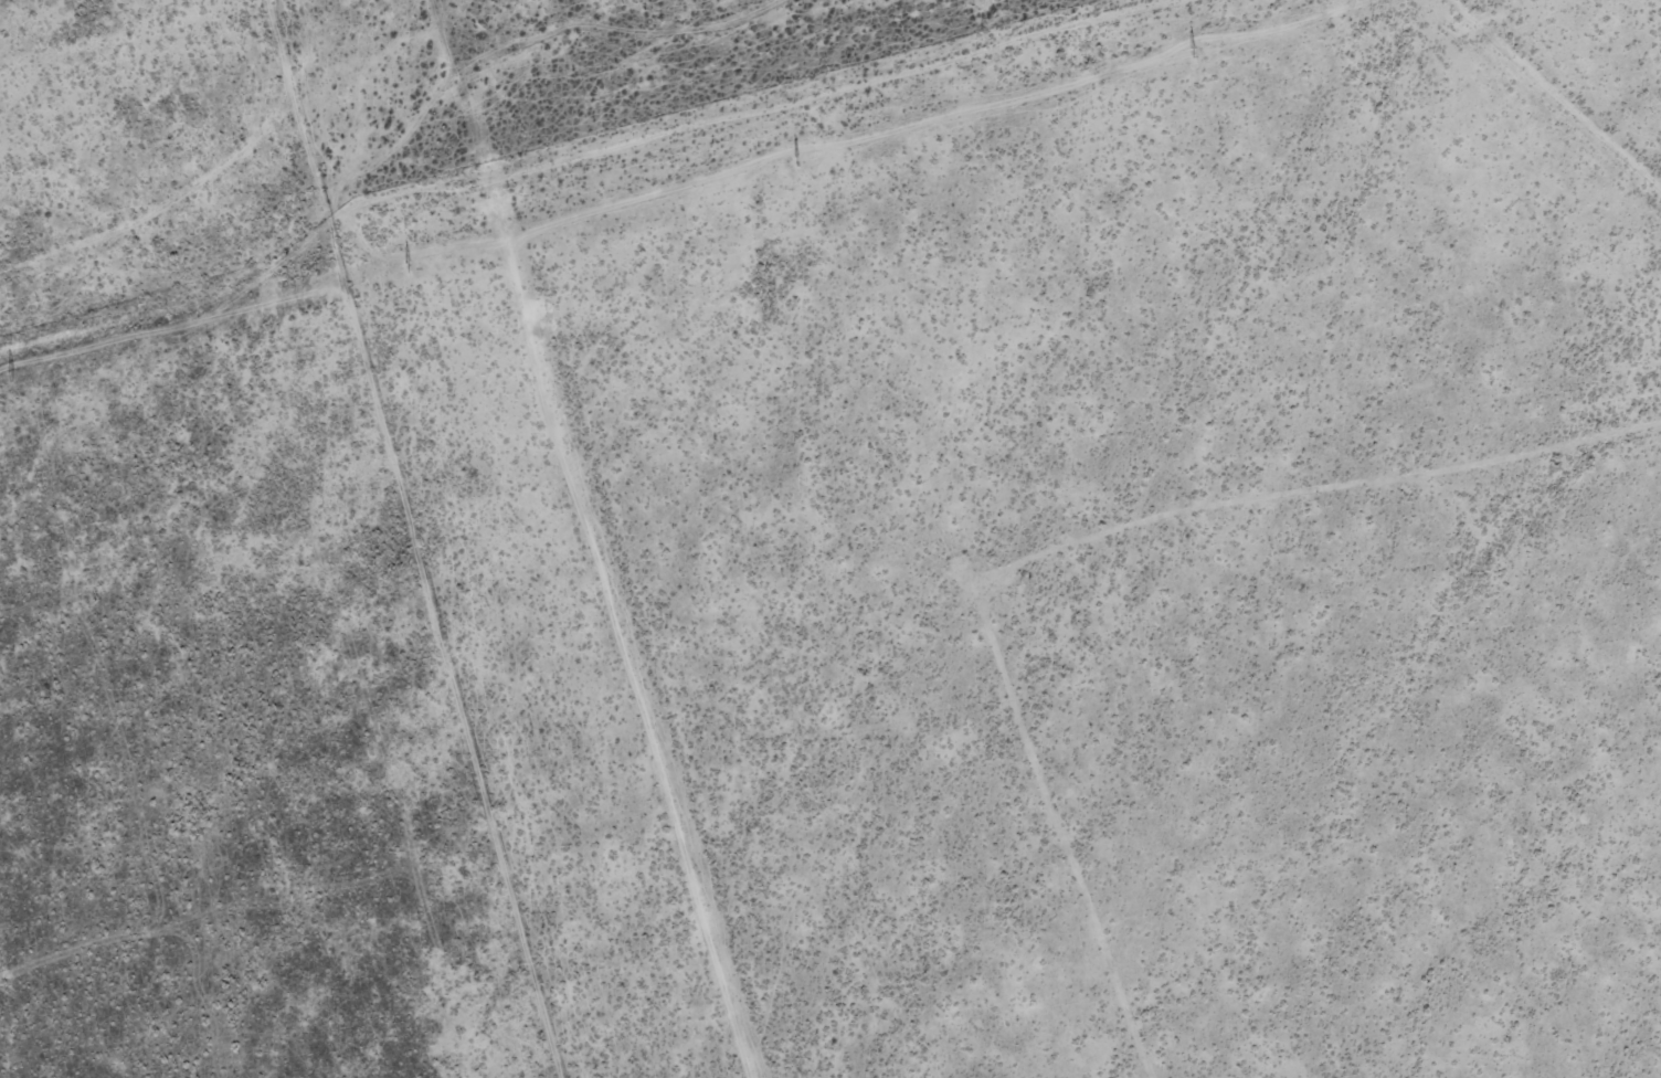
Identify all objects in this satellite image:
power tower: (1192, 51)
power tower: (795, 161)
power tower: (408, 267)
power tower: (11, 376)

